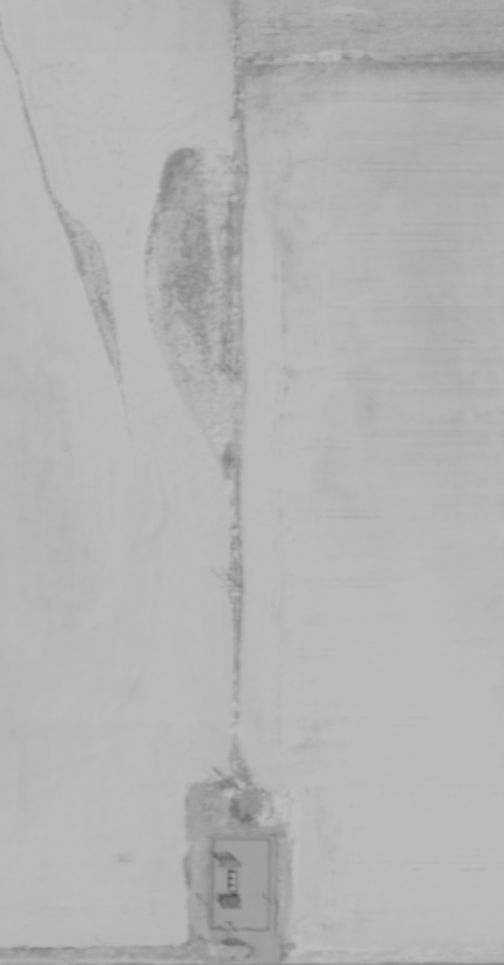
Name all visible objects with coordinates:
power tower: (231, 790)
power tower: (231, 859)
road: (262, 945)

